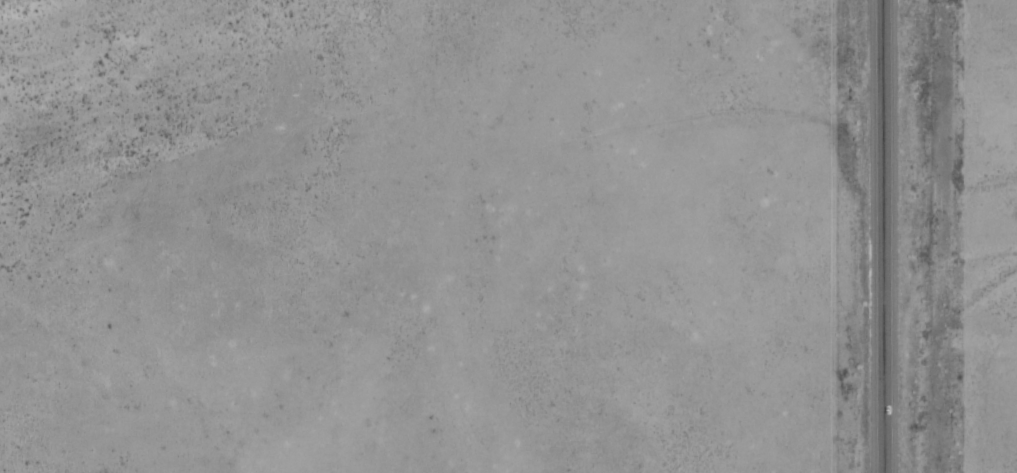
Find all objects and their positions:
road: (901, 236)

